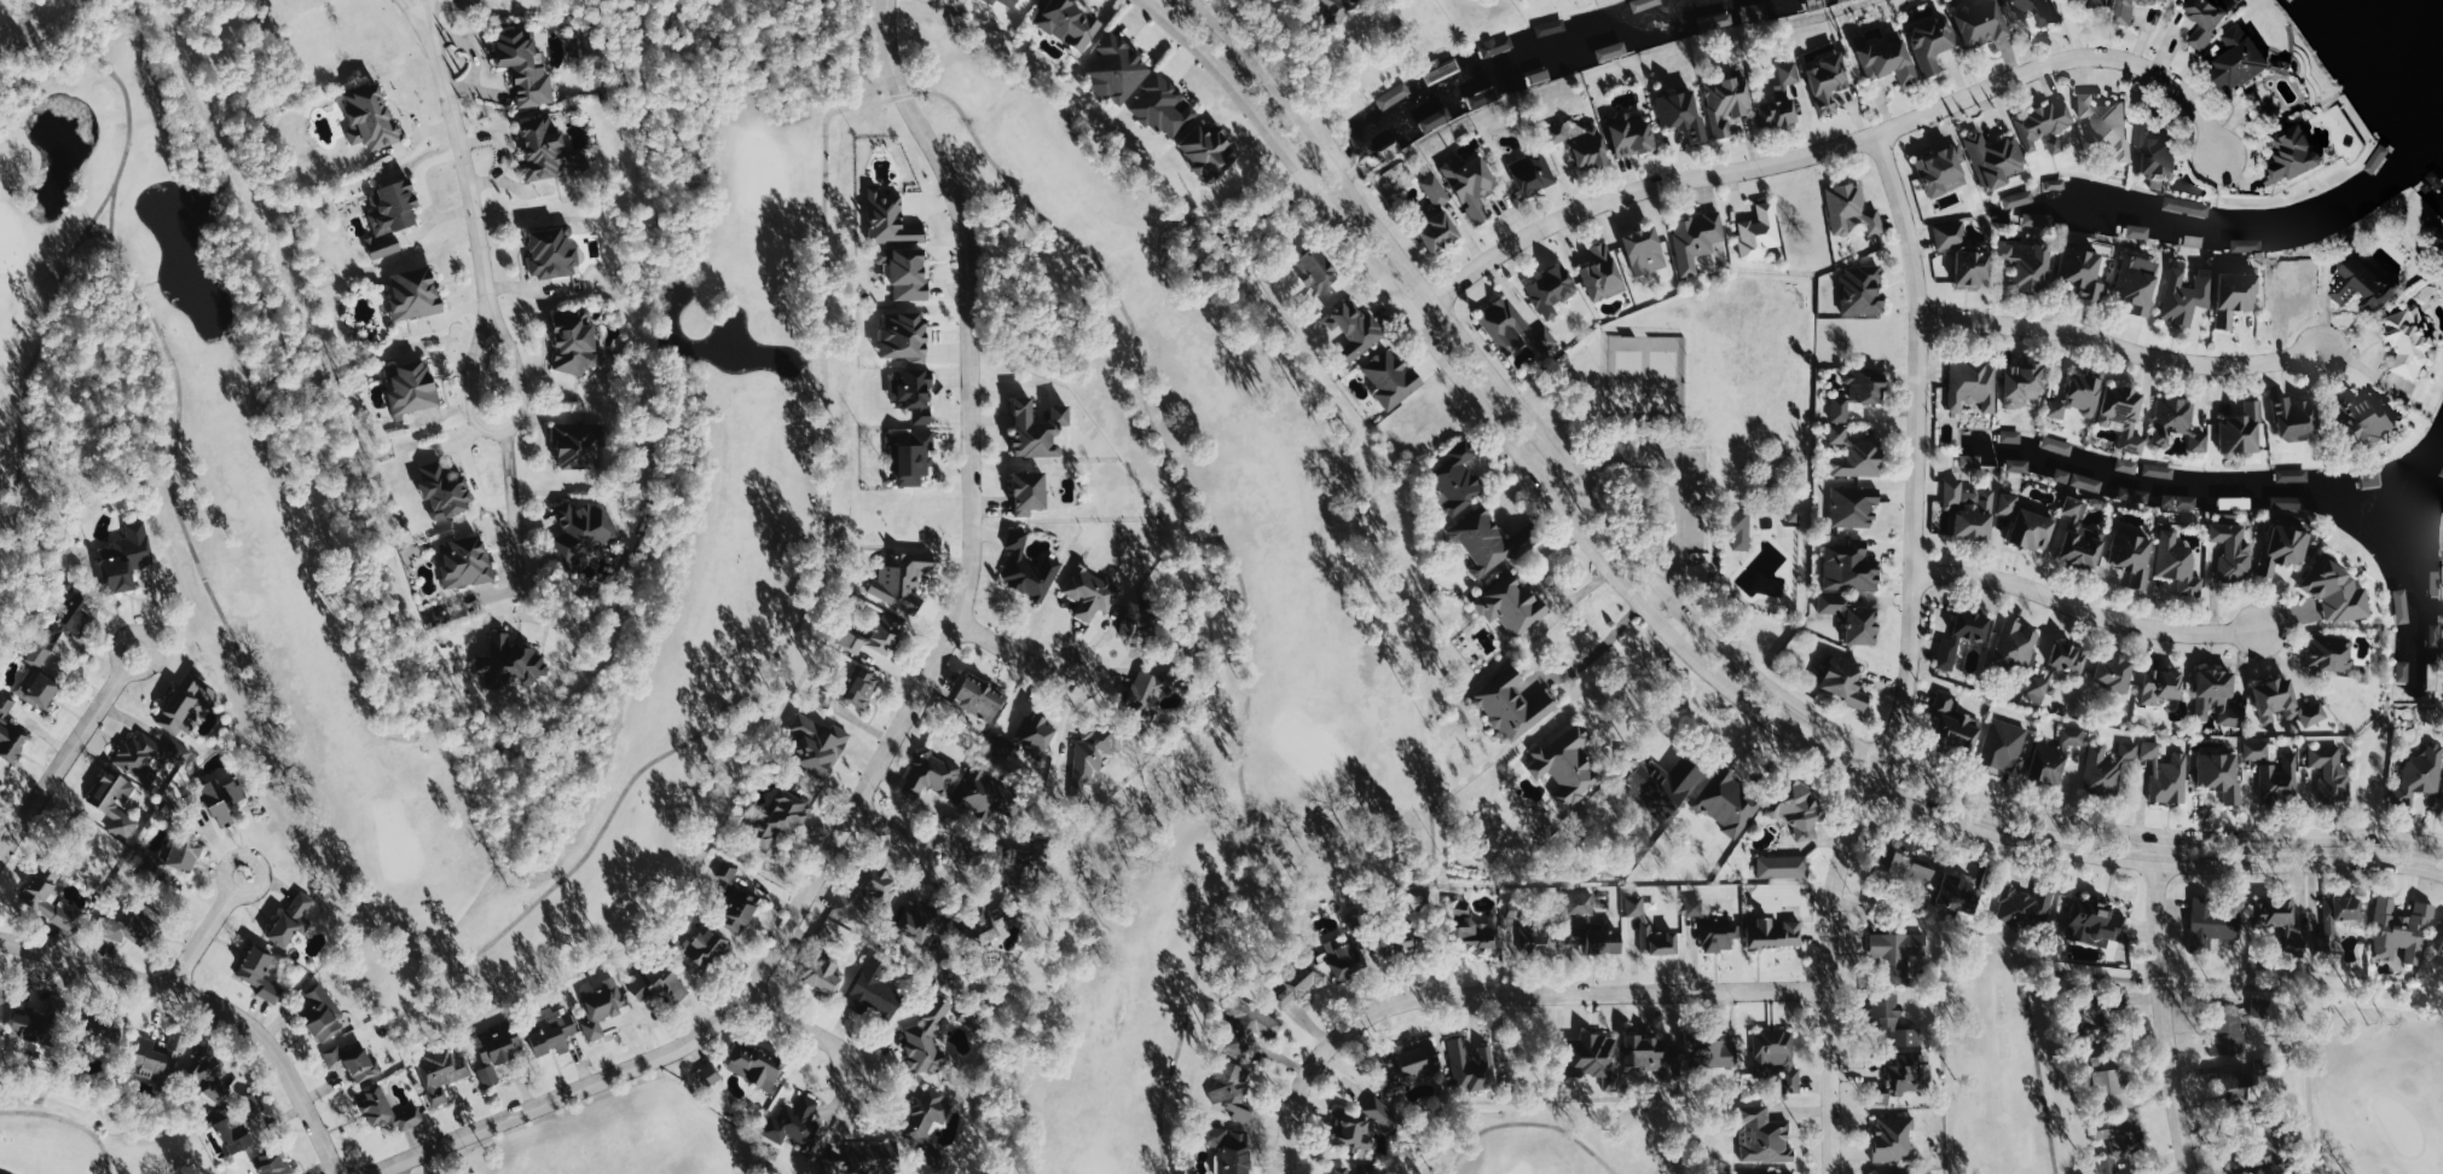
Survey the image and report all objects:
building: (1005, 2)
building: (2103, 4)
road: (1174, 8)
building: (2134, 10)
building: (2032, 11)
building: (1337, 12)
building: (1754, 13)
road: (31, 17)
building: (2210, 19)
road: (4, 23)
road: (417, 23)
road: (430, 23)
building: (1069, 23)
building: (1982, 24)
building: (1551, 27)
building: (1934, 44)
building: (1498, 45)
building: (2245, 59)
building: (1888, 60)
building: (525, 69)
building: (1118, 69)
building: (1829, 83)
building: (1395, 96)
building: (1481, 99)
building: (1783, 99)
building: (1729, 104)
building: (1165, 108)
building: (1683, 115)
building: (370, 118)
building: (1432, 122)
building: (2108, 125)
building: (2045, 127)
building: (1631, 131)
building: (1582, 143)
road: (1839, 144)
building: (543, 149)
building: (1208, 150)
building: (2158, 152)
building: (2297, 155)
building: (1996, 160)
building: (1944, 170)
road: (467, 172)
building: (1533, 173)
building: (1472, 185)
building: (1435, 190)
building: (2020, 199)
building: (1853, 212)
building: (392, 218)
building: (890, 220)
building: (2038, 221)
building: (2140, 231)
building: (1760, 232)
building: (1440, 233)
building: (1697, 239)
building: (1646, 251)
building: (551, 253)
building: (1964, 254)
building: (884, 256)
building: (2028, 262)
building: (1318, 270)
building: (2083, 270)
building: (1603, 273)
building: (910, 274)
building: (2138, 282)
building: (2366, 284)
building: (1552, 290)
building: (1863, 290)
building: (415, 295)
building: (2187, 295)
building: (2236, 295)
road: (1422, 308)
building: (1513, 328)
building: (1356, 329)
building: (907, 339)
building: (574, 340)
building: (2412, 340)
road: (2123, 343)
building: (1393, 378)
building: (2025, 382)
building: (1974, 386)
building: (412, 388)
building: (1859, 393)
building: (914, 394)
building: (2079, 397)
building: (2125, 415)
building: (2297, 418)
building: (2370, 418)
building: (2178, 422)
building: (2241, 429)
building: (1038, 430)
road: (500, 432)
building: (2013, 436)
building: (2059, 445)
building: (577, 446)
building: (1856, 455)
building: (913, 456)
building: (1972, 461)
building: (2020, 465)
building: (2129, 465)
building: (2160, 470)
road: (1683, 472)
building: (2293, 474)
building: (2065, 475)
building: (1458, 478)
building: (2089, 482)
building: (444, 492)
building: (1030, 493)
building: (2181, 501)
building: (2008, 503)
building: (2287, 503)
building: (1856, 505)
building: (1970, 509)
road: (515, 524)
building: (584, 526)
building: (1742, 530)
building: (2033, 530)
building: (2082, 536)
building: (1490, 540)
building: (2286, 548)
building: (2235, 550)
building: (2135, 556)
building: (126, 557)
building: (467, 561)
building: (2179, 563)
building: (1029, 568)
building: (1851, 568)
building: (902, 580)
building: (2339, 590)
road: (1656, 591)
building: (1512, 605)
road: (2088, 609)
building: (2403, 611)
building: (73, 614)
building: (1856, 614)
road: (1697, 623)
building: (1136, 626)
road: (1679, 629)
building: (886, 632)
building: (2436, 635)
building: (1951, 638)
road: (1605, 641)
building: (2016, 644)
road: (1006, 649)
building: (2331, 653)
building: (39, 654)
road: (1909, 657)
road: (1060, 660)
building: (511, 663)
building: (2060, 670)
road: (139, 671)
building: (2404, 671)
building: (2117, 673)
building: (1847, 681)
road: (1636, 682)
building: (2164, 686)
building: (37, 687)
building: (1148, 687)
building: (852, 689)
building: (2217, 695)
building: (980, 698)
building: (2286, 702)
building: (184, 705)
building: (1516, 709)
road: (907, 713)
building: (1953, 722)
building: (10, 733)
building: (1036, 734)
building: (817, 744)
building: (2005, 745)
building: (2130, 750)
building: (2258, 750)
building: (1095, 751)
building: (149, 753)
building: (2055, 756)
road: (63, 761)
building: (1568, 764)
building: (2102, 769)
building: (2332, 771)
building: (932, 774)
building: (2222, 774)
building: (2421, 774)
building: (2167, 775)
building: (2281, 779)
building: (1663, 783)
building: (986, 791)
building: (218, 798)
building: (116, 802)
building: (1730, 803)
building: (1799, 809)
road: (2270, 816)
building: (780, 817)
road: (888, 829)
building: (184, 854)
building: (1909, 864)
building: (1783, 866)
road: (922, 869)
road: (259, 886)
building: (868, 887)
building: (1961, 895)
building: (48, 896)
building: (1695, 907)
building: (2027, 907)
building: (2276, 913)
building: (2341, 914)
building: (291, 919)
building: (919, 921)
building: (2095, 921)
building: (1645, 924)
building: (2213, 924)
building: (132, 925)
building: (984, 925)
building: (1590, 926)
building: (1498, 931)
building: (2403, 932)
building: (1776, 933)
building: (1720, 937)
building: (1399, 941)
road: (201, 942)
building: (705, 947)
building: (2442, 952)
building: (1899, 954)
building: (1347, 958)
building: (260, 971)
building: (824, 975)
building: (1298, 983)
building: (658, 984)
building: (875, 990)
road: (1512, 997)
road: (209, 1002)
building: (603, 1007)
building: (320, 1011)
road: (2172, 1016)
road: (798, 1024)
building: (31, 1025)
building: (1247, 1026)
building: (2097, 1026)
building: (104, 1033)
building: (554, 1033)
building: (2229, 1034)
building: (928, 1037)
building: (498, 1048)
building: (1715, 1053)
building: (1899, 1053)
building: (158, 1056)
building: (1654, 1056)
building: (1596, 1057)
building: (1777, 1057)
building: (354, 1059)
building: (1414, 1062)
building: (758, 1065)
road: (873, 1065)
building: (1474, 1066)
building: (441, 1071)
building: (711, 1075)
building: (209, 1076)
building: (2109, 1082)
building: (1232, 1089)
building: (2234, 1091)
building: (251, 1105)
building: (387, 1111)
building: (926, 1118)
building: (794, 1123)
building: (1364, 1127)
building: (235, 1133)
building: (1765, 1137)
building: (1895, 1138)
building: (2119, 1143)
building: (1231, 1150)
building: (868, 1159)
building: (274, 1163)
building: (1359, 1169)
building: (1771, 1172)
building: (2276, 1173)

